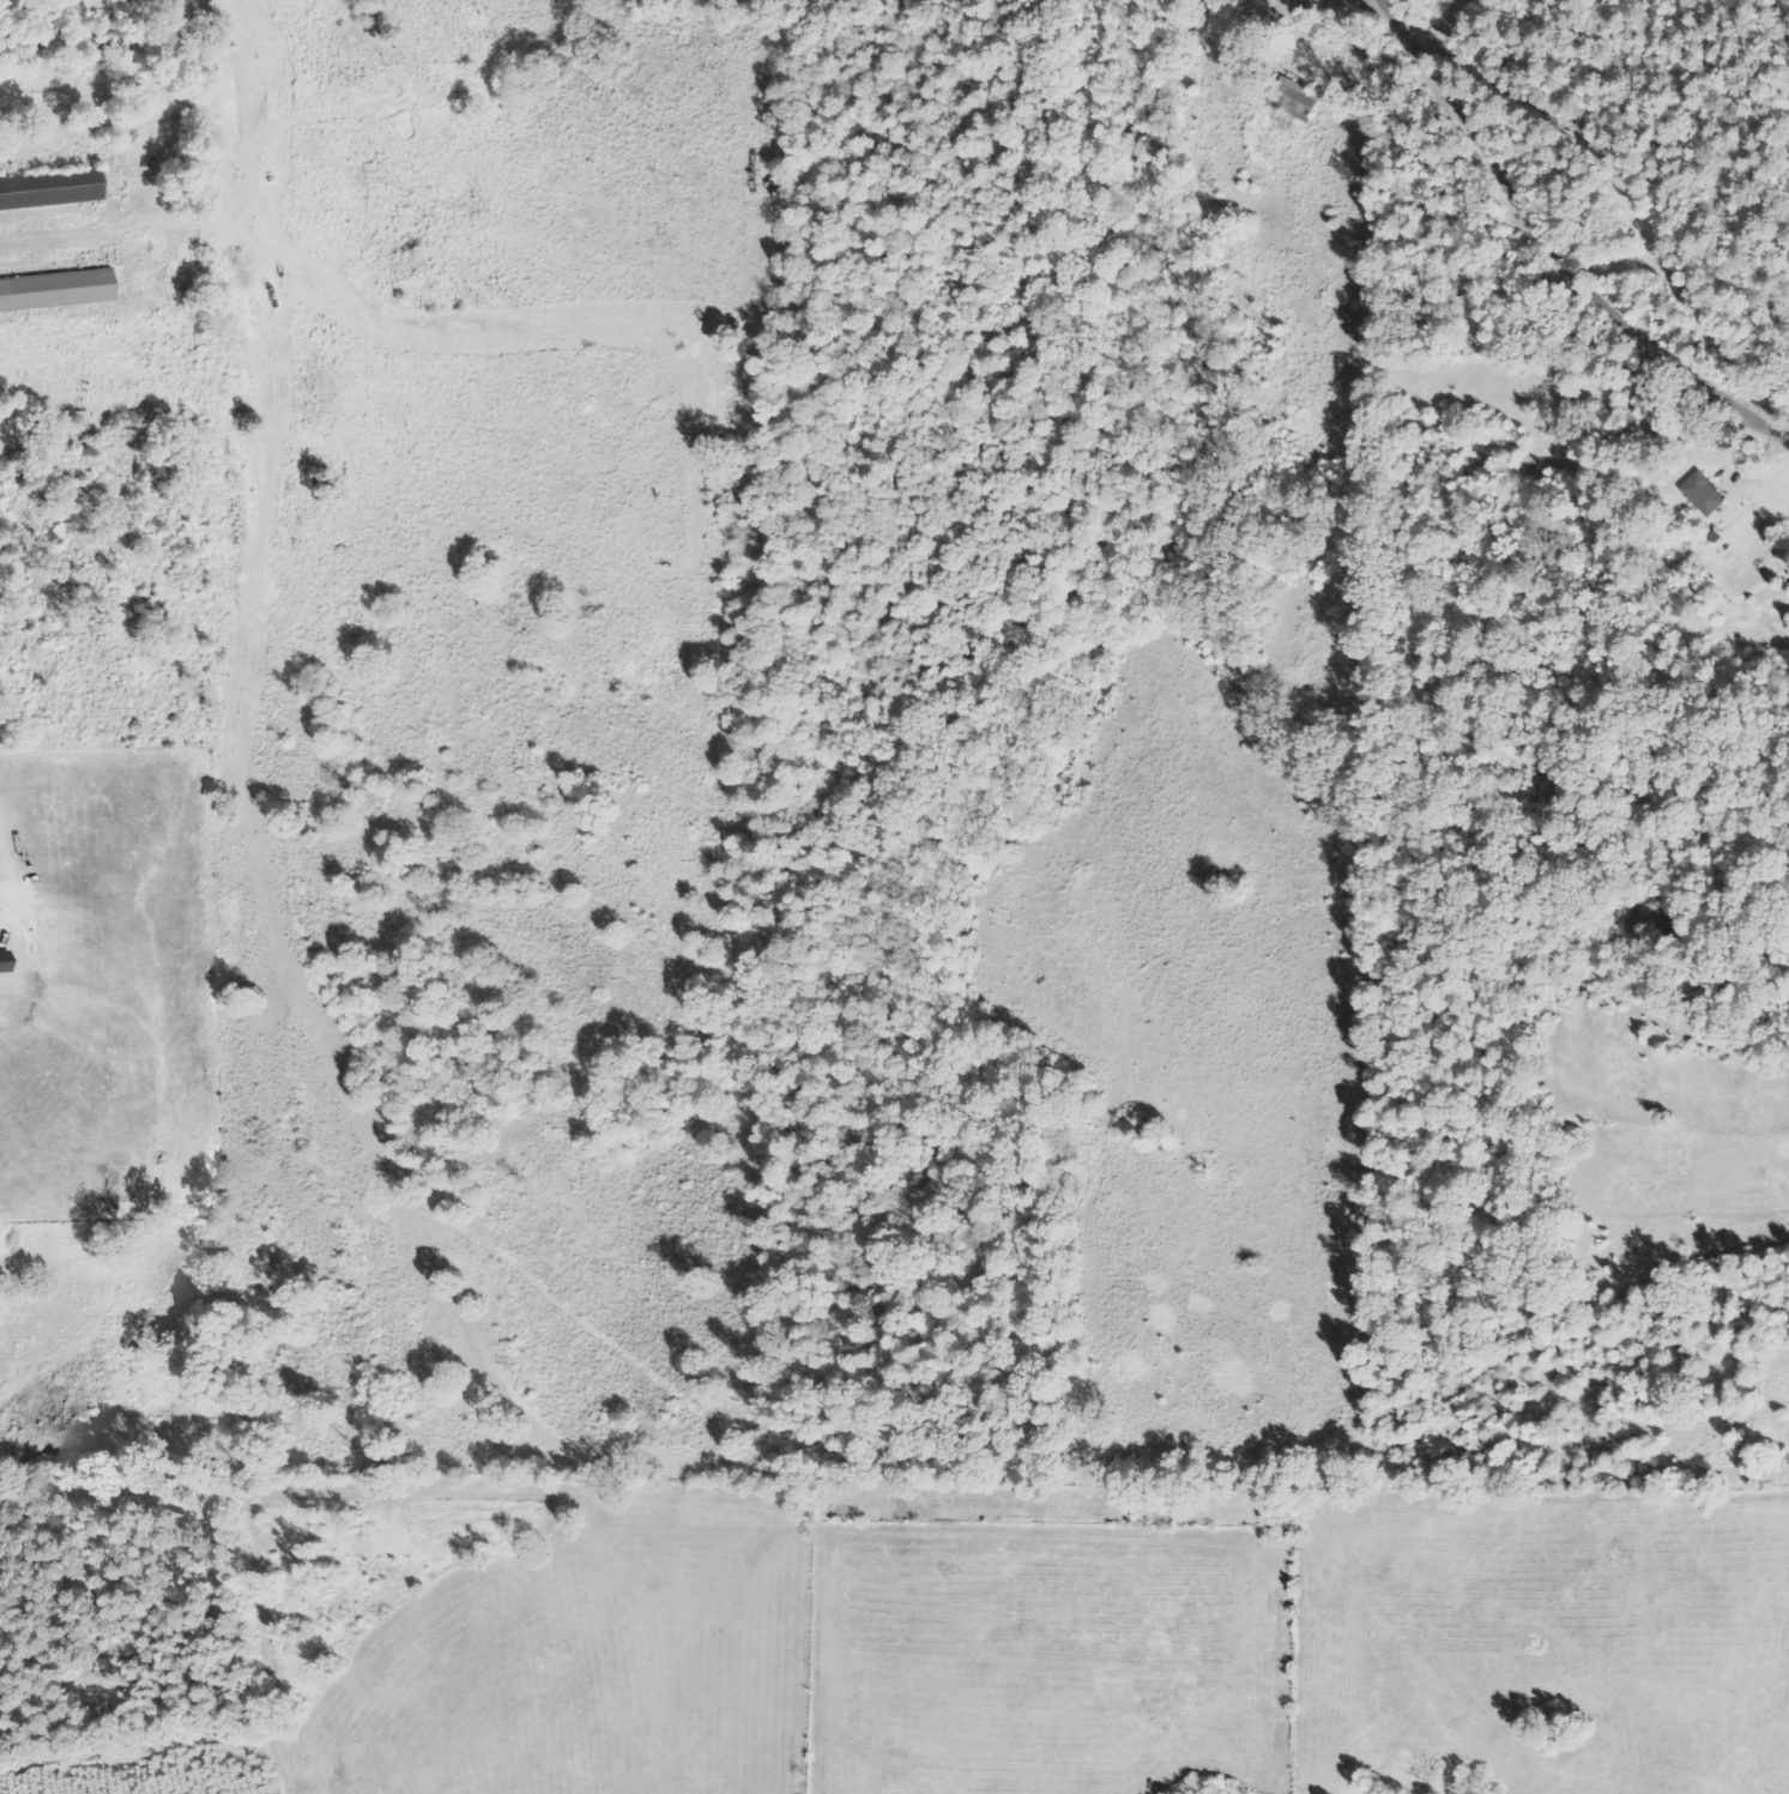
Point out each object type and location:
building: (1301, 103)
road: (1549, 254)
building: (60, 291)
building: (1710, 494)

